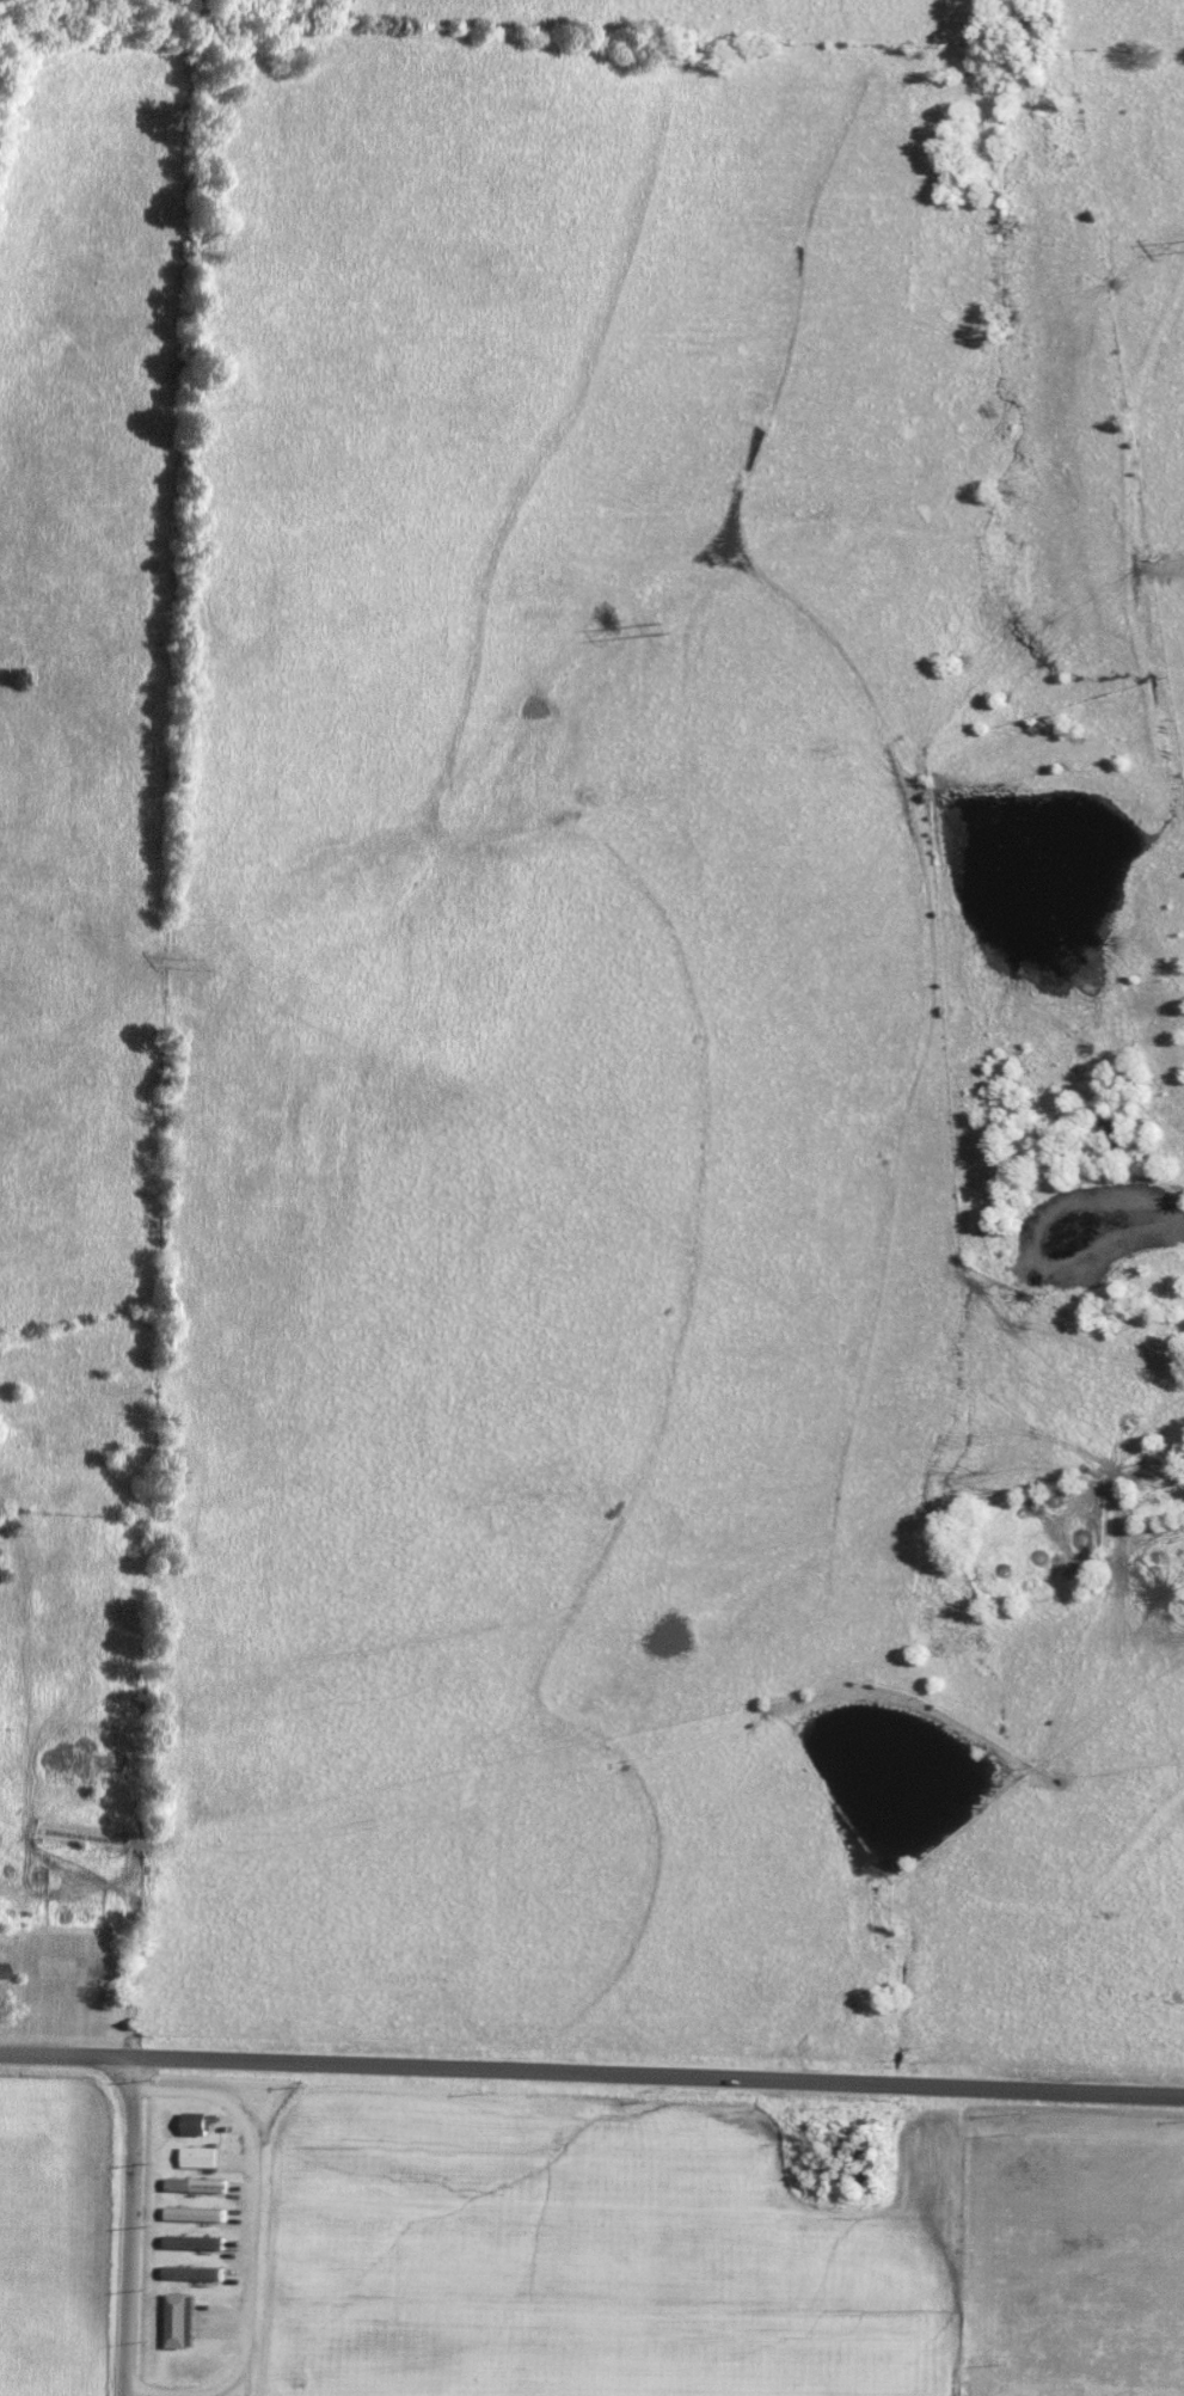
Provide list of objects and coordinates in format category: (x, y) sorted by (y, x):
building: (81, 1836)
building: (1, 1971)
road: (591, 2076)
building: (195, 2122)
building: (200, 2151)
building: (200, 2181)
building: (192, 2212)
road: (135, 2228)
building: (189, 2241)
road: (253, 2243)
building: (179, 2320)

